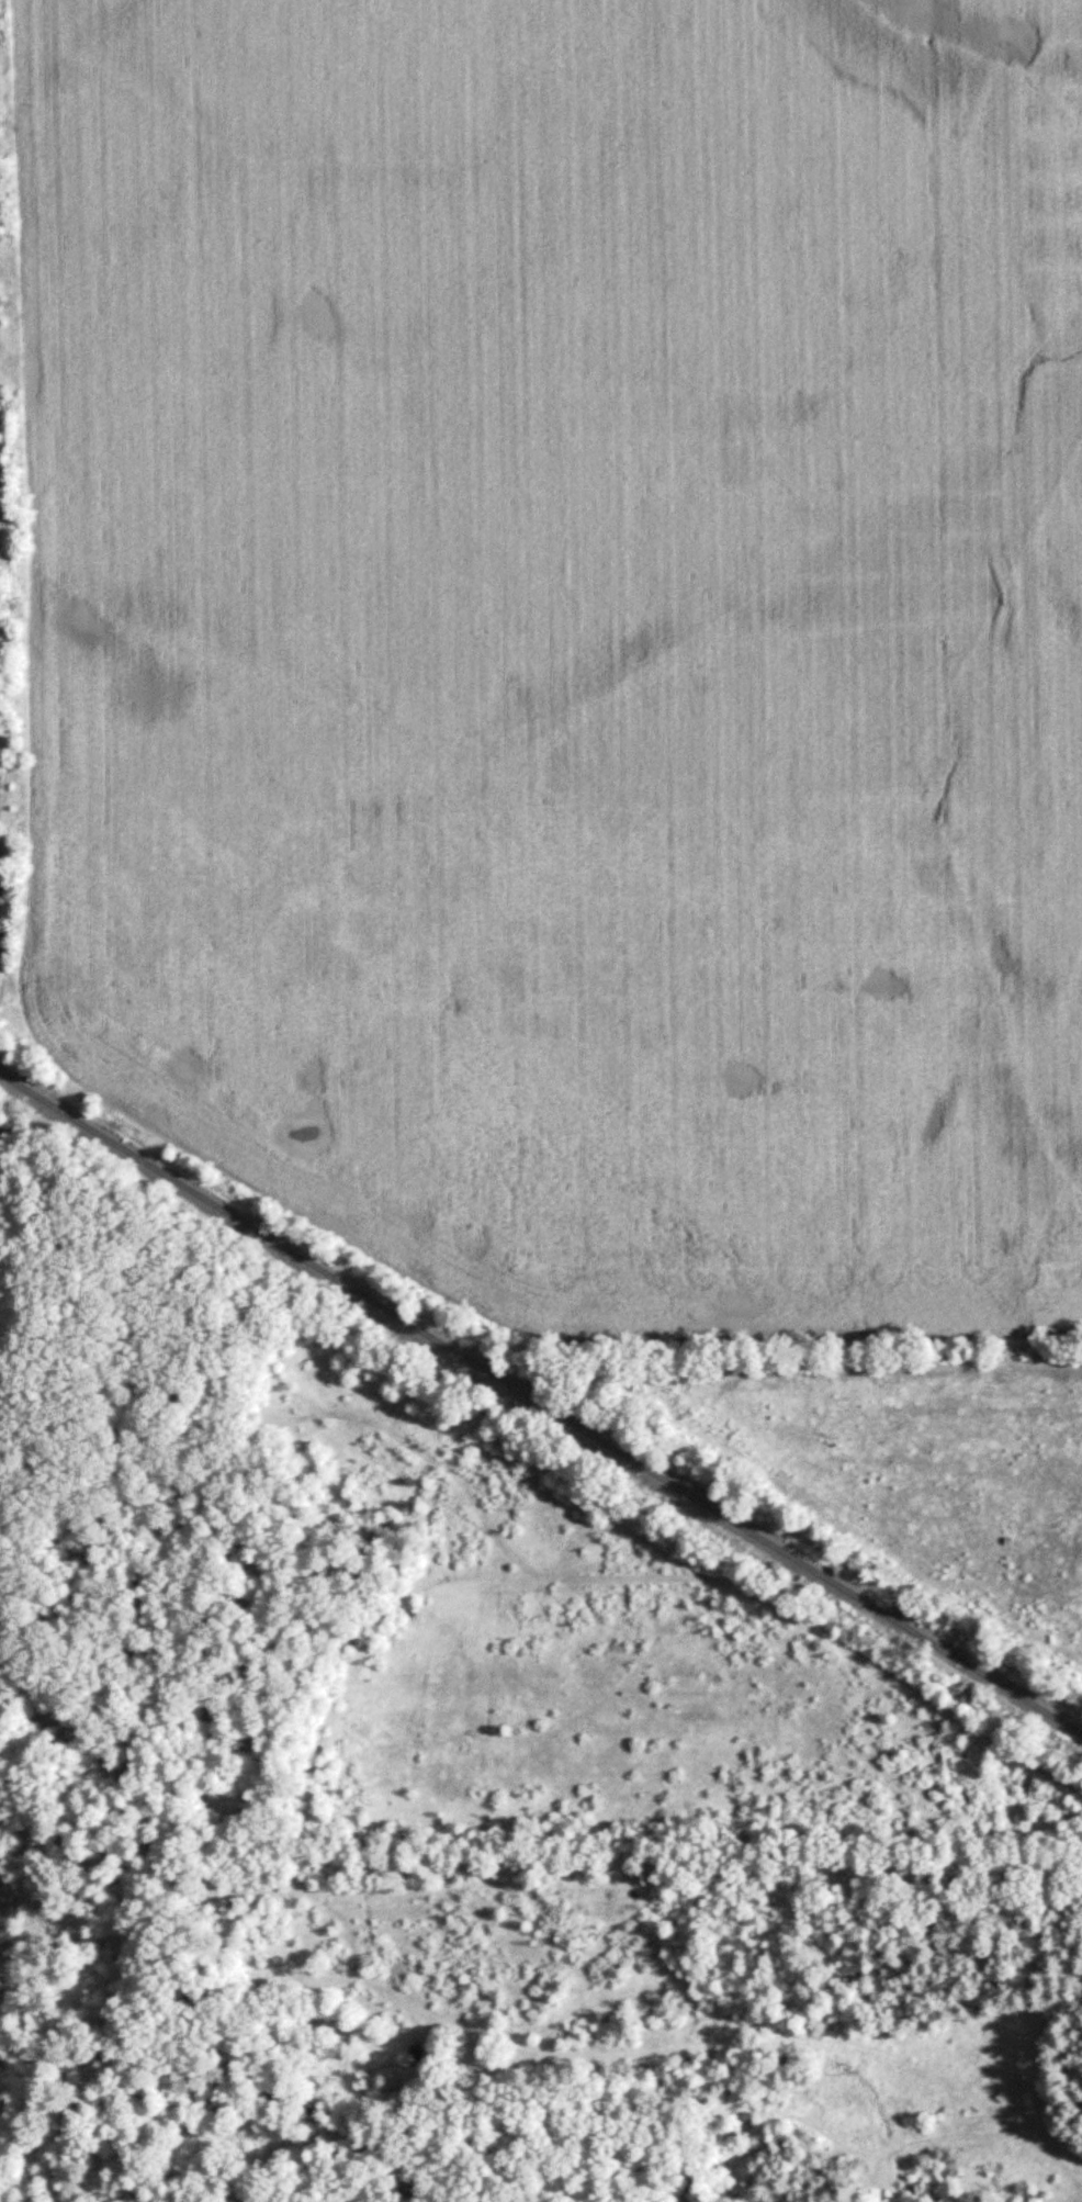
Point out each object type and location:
railway: (541, 1398)

